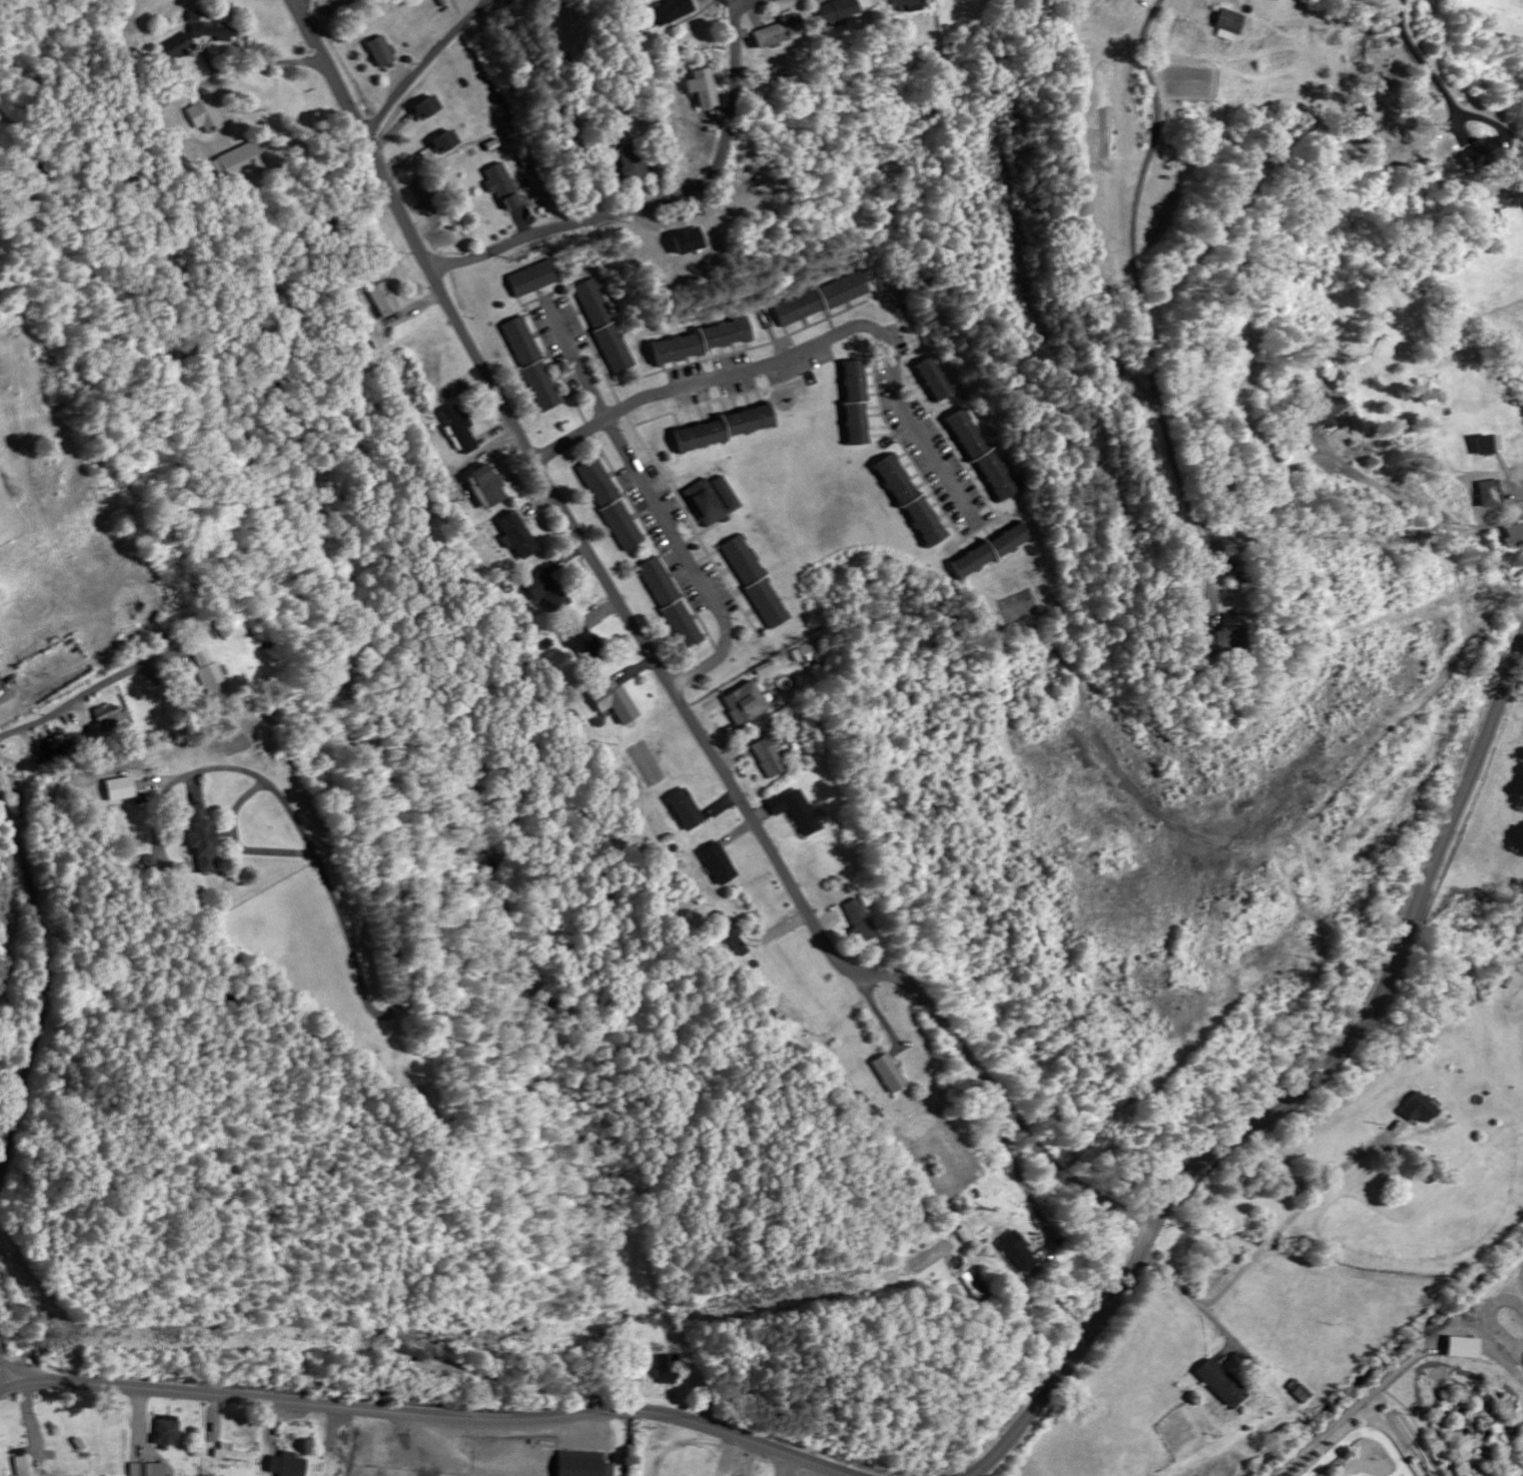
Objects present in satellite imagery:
building: (1279, 0)
building: (905, 5)
building: (670, 11)
building: (834, 11)
building: (195, 18)
building: (1228, 26)
building: (214, 32)
building: (776, 33)
building: (178, 48)
building: (381, 53)
road: (1423, 63)
building: (702, 89)
building: (426, 110)
building: (204, 116)
building: (444, 144)
building: (1480, 154)
building: (239, 163)
building: (632, 164)
building: (503, 188)
road: (664, 201)
building: (534, 279)
building: (381, 299)
building: (822, 300)
building: (606, 326)
building: (520, 341)
building: (703, 341)
building: (936, 379)
road: (696, 385)
building: (541, 387)
road: (596, 397)
building: (855, 403)
building: (1322, 415)
building: (458, 429)
building: (1487, 444)
building: (984, 458)
building: (598, 482)
building: (483, 486)
building: (1489, 494)
building: (712, 500)
building: (909, 500)
road: (1426, 515)
building: (622, 525)
building: (515, 535)
building: (1513, 536)
building: (990, 550)
building: (743, 560)
building: (543, 589)
building: (670, 603)
building: (767, 604)
building: (224, 629)
building: (1227, 633)
building: (581, 642)
building: (808, 653)
road: (662, 670)
building: (210, 674)
road: (73, 701)
building: (612, 702)
building: (745, 704)
building: (109, 717)
building: (53, 742)
building: (767, 758)
road: (375, 759)
building: (120, 789)
building: (684, 809)
building: (798, 811)
building: (202, 839)
road: (237, 842)
building: (717, 864)
building: (860, 921)
road: (43, 995)
building: (890, 1073)
road: (1298, 1092)
building: (1420, 1109)
road: (1268, 1247)
building: (1013, 1251)
building: (971, 1285)
road: (1226, 1331)
building: (1460, 1344)
building: (668, 1370)
road: (6, 1375)
building: (1222, 1384)
water park: (1435, 1401)
building: (1382, 1407)
road: (429, 1416)
building: (170, 1435)
building: (232, 1454)
building: (1410, 1458)
building: (288, 1465)
building: (583, 1465)
building: (23, 1466)
building: (1337, 1466)
building: (150, 1470)
building: (56, 1475)
building: (1522, 1475)

